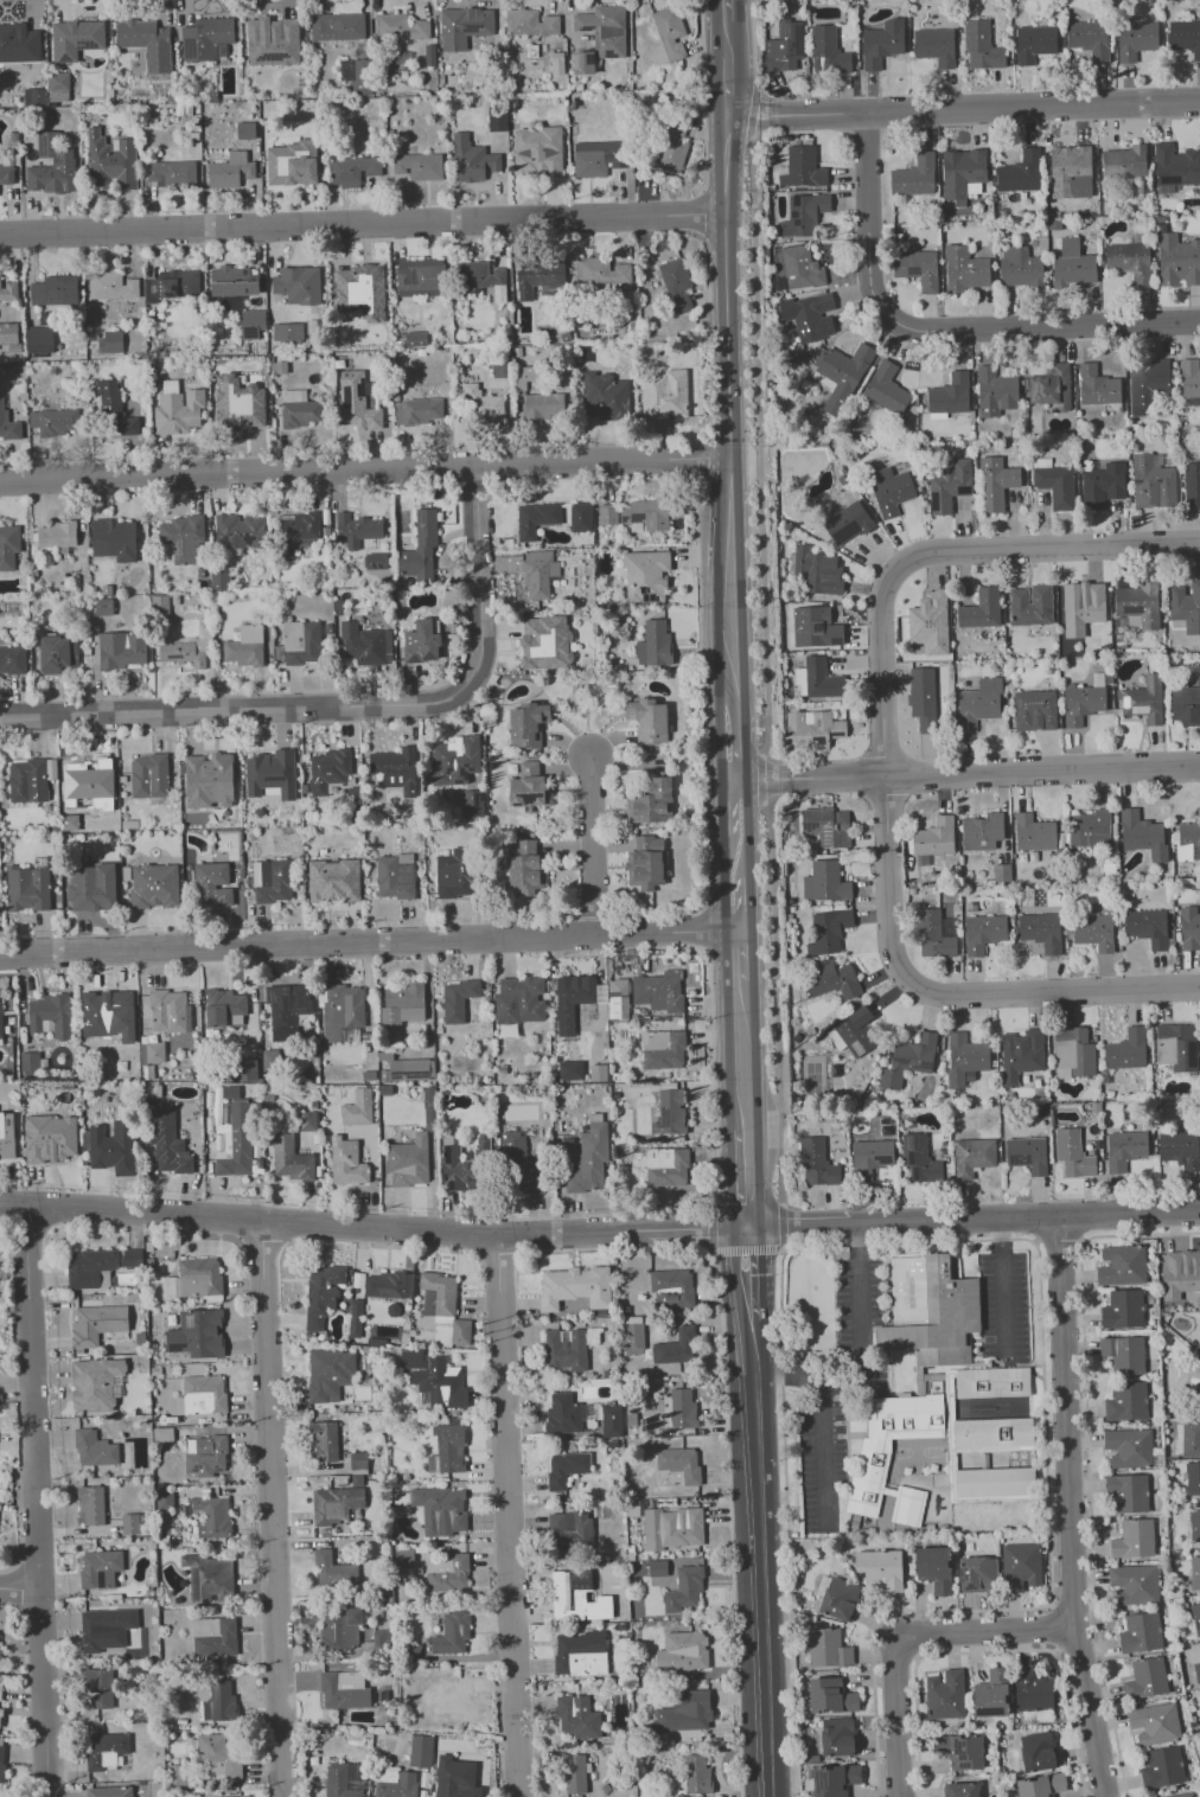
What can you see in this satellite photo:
building: (530, 23)
building: (337, 26)
building: (400, 26)
building: (464, 26)
building: (1199, 26)
rooftop solar panel: (585, 27)
building: (604, 28)
rooftop solar panel: (779, 28)
road: (726, 30)
building: (668, 34)
building: (1185, 37)
building: (76, 38)
building: (206, 38)
rooftop solar panel: (797, 39)
building: (1089, 39)
building: (1135, 39)
building: (273, 40)
building: (146, 41)
building: (19, 43)
road: (759, 43)
building: (882, 43)
building: (1034, 43)
rooftop solar panel: (89, 44)
rooftop solar panel: (191, 46)
building: (784, 46)
building: (934, 46)
building: (981, 46)
rooftop solar panel: (606, 51)
building: (828, 51)
rooftop solar panel: (64, 58)
rooftop solar panel: (587, 59)
rooftop solar panel: (575, 62)
building: (582, 62)
building: (356, 75)
building: (57, 81)
road: (727, 87)
building: (34, 97)
road: (702, 104)
road: (754, 109)
road: (963, 111)
building: (245, 130)
rooftop solar panel: (40, 142)
building: (672, 145)
building: (537, 152)
building: (598, 158)
building: (472, 159)
building: (110, 161)
building: (1124, 161)
building: (292, 164)
building: (51, 166)
building: (417, 166)
building: (1174, 167)
building: (802, 168)
building: (352, 170)
building: (231, 171)
building: (1020, 172)
building: (1070, 172)
building: (171, 173)
building: (963, 173)
building: (6, 175)
building: (914, 175)
rooftop solar panel: (799, 200)
road: (702, 213)
rooftop solar panel: (797, 213)
building: (804, 215)
rooftop solar panel: (799, 223)
road: (362, 224)
building: (1129, 261)
building: (1177, 261)
building: (1073, 264)
building: (1020, 267)
building: (800, 268)
building: (918, 268)
building: (964, 269)
building: (602, 270)
rooftop solar panel: (915, 271)
building: (420, 276)
building: (538, 277)
building: (479, 280)
building: (232, 281)
building: (172, 284)
building: (298, 284)
building: (676, 284)
building: (111, 286)
road: (726, 286)
building: (8, 290)
building: (55, 290)
building: (360, 290)
building: (234, 301)
building: (810, 315)
road: (708, 320)
building: (251, 324)
rooftop solar panel: (248, 331)
building: (287, 332)
road: (943, 333)
building: (8, 334)
building: (415, 338)
building: (39, 340)
building: (110, 341)
building: (840, 375)
building: (1189, 377)
building: (1147, 383)
building: (1097, 385)
rooftop solar panel: (360, 388)
building: (886, 388)
building: (1051, 388)
building: (995, 391)
building: (663, 394)
building: (950, 394)
rooftop solar panel: (346, 396)
building: (605, 396)
rooftop solar panel: (339, 397)
building: (237, 402)
building: (356, 402)
building: (481, 405)
building: (542, 405)
building: (177, 409)
building: (298, 409)
building: (114, 410)
building: (416, 410)
building: (53, 421)
building: (7, 423)
road: (758, 459)
rooftop solar panel: (1140, 461)
road: (364, 468)
building: (1199, 468)
rooftop solar panel: (1136, 480)
rooftop solar panel: (1157, 480)
building: (1153, 481)
building: (995, 482)
building: (1191, 484)
building: (949, 485)
building: (1055, 485)
building: (1103, 485)
building: (891, 491)
building: (634, 514)
rooftop solar panel: (420, 517)
building: (580, 517)
rooftop solar panel: (636, 517)
building: (535, 518)
rooftop solar panel: (623, 518)
building: (848, 522)
building: (357, 529)
rooftop solar panel: (420, 529)
building: (238, 530)
building: (295, 532)
rooftop solar panel: (228, 533)
rooftop solar panel: (237, 533)
building: (58, 536)
rooftop solar panel: (223, 537)
building: (114, 538)
building: (181, 539)
rooftop solar panel: (247, 539)
rooftop solar panel: (231, 542)
building: (8, 545)
building: (420, 545)
rooftop solar panel: (177, 550)
road: (940, 551)
building: (375, 561)
building: (817, 570)
building: (538, 574)
building: (645, 575)
road: (730, 577)
building: (219, 580)
building: (1199, 586)
building: (1083, 602)
building: (1030, 605)
building: (1138, 605)
building: (1186, 605)
building: (103, 606)
building: (981, 609)
rooftop solar panel: (1131, 609)
building: (930, 622)
building: (815, 627)
building: (422, 641)
building: (301, 642)
building: (544, 642)
building: (365, 644)
building: (653, 644)
building: (244, 646)
building: (121, 650)
building: (184, 651)
building: (58, 654)
rooftop solar panel: (428, 654)
rooftop solar panel: (173, 656)
building: (12, 659)
rooftop solar panel: (411, 660)
building: (817, 678)
building: (1199, 679)
building: (923, 698)
building: (1144, 699)
building: (978, 703)
building: (1185, 705)
road: (349, 706)
building: (1034, 710)
building: (647, 721)
rooftop solar panel: (818, 722)
building: (528, 724)
building: (812, 729)
rooftop solar panel: (836, 734)
road: (733, 737)
rooftop solar panel: (817, 740)
building: (455, 760)
building: (396, 768)
building: (328, 769)
road: (995, 772)
building: (89, 773)
building: (270, 773)
building: (148, 775)
building: (30, 779)
road: (761, 779)
building: (209, 780)
road: (761, 780)
building: (529, 788)
rooftop solar panel: (529, 798)
building: (651, 802)
building: (472, 804)
rooftop solar panel: (516, 804)
building: (1199, 807)
road: (734, 814)
building: (68, 818)
rooftop solar panel: (809, 826)
building: (826, 826)
building: (1090, 829)
building: (982, 831)
building: (1033, 832)
building: (1142, 834)
rooftop solar panel: (826, 837)
building: (934, 837)
building: (1187, 840)
road: (592, 845)
building: (645, 863)
building: (524, 866)
building: (455, 872)
building: (1002, 872)
building: (395, 876)
building: (333, 880)
building: (272, 881)
building: (825, 882)
building: (212, 884)
building: (153, 885)
building: (27, 888)
road: (736, 890)
building: (1199, 915)
building: (1147, 927)
building: (1189, 927)
building: (1040, 931)
building: (1093, 931)
building: (828, 932)
building: (983, 933)
building: (936, 934)
road: (368, 944)
road: (739, 959)
building: (831, 979)
building: (658, 991)
road: (946, 996)
building: (458, 999)
building: (519, 999)
building: (572, 999)
building: (617, 999)
building: (402, 1003)
road: (775, 1004)
building: (224, 1008)
building: (286, 1010)
building: (342, 1010)
building: (170, 1011)
building: (51, 1015)
building: (111, 1015)
building: (0, 1022)
building: (853, 1032)
building: (1175, 1047)
building: (663, 1049)
building: (1126, 1049)
rooftop solar panel: (854, 1050)
building: (152, 1053)
building: (1073, 1053)
building: (1021, 1055)
rooftop solar panel: (1193, 1055)
road: (742, 1057)
building: (965, 1057)
building: (270, 1060)
building: (908, 1060)
building: (30, 1063)
rooftop solar panel: (920, 1063)
building: (411, 1068)
building: (245, 1069)
building: (569, 1069)
building: (598, 1072)
rooftop solar panel: (408, 1074)
building: (357, 1107)
building: (429, 1108)
building: (671, 1111)
building: (307, 1120)
building: (6, 1136)
building: (50, 1138)
building: (167, 1141)
building: (237, 1143)
building: (113, 1146)
rooftop solar panel: (906, 1149)
building: (1124, 1149)
building: (1180, 1149)
building: (1027, 1153)
building: (1073, 1153)
building: (870, 1156)
building: (972, 1156)
building: (289, 1157)
rooftop solar panel: (883, 1158)
rooftop solar panel: (911, 1158)
building: (919, 1158)
building: (588, 1159)
building: (409, 1160)
building: (346, 1162)
building: (817, 1163)
building: (464, 1165)
building: (522, 1166)
building: (665, 1166)
road: (746, 1179)
road: (1028, 1219)
road: (802, 1224)
road: (323, 1226)
road: (781, 1228)
road: (696, 1229)
road: (713, 1229)
road: (1060, 1236)
road: (996, 1240)
road: (746, 1249)
road: (781, 1249)
building: (98, 1266)
building: (1124, 1266)
road: (749, 1274)
building: (1181, 1274)
building: (194, 1278)
building: (389, 1285)
building: (574, 1287)
building: (671, 1288)
road: (1004, 1290)
building: (321, 1294)
building: (438, 1294)
building: (1124, 1310)
rooftop solar panel: (189, 1322)
building: (97, 1323)
building: (460, 1331)
building: (196, 1334)
building: (633, 1338)
rooftop solar panel: (175, 1348)
building: (675, 1348)
building: (564, 1349)
road: (862, 1354)
building: (1125, 1354)
building: (413, 1360)
building: (330, 1374)
rooftop solar panel: (116, 1380)
building: (1189, 1382)
building: (94, 1383)
building: (440, 1383)
rooftop solar panel: (116, 1390)
building: (202, 1395)
building: (940, 1395)
building: (1198, 1401)
building: (1128, 1402)
building: (682, 1408)
building: (562, 1413)
building: (1199, 1414)
building: (611, 1421)
building: (1188, 1439)
building: (324, 1441)
building: (94, 1449)
building: (449, 1449)
building: (1134, 1450)
road: (823, 1453)
building: (205, 1456)
building: (358, 1460)
road: (1089, 1462)
building: (679, 1463)
building: (939, 1466)
building: (566, 1467)
rooftop solar panel: (194, 1469)
rooftop solar panel: (217, 1470)
building: (1194, 1477)
building: (1129, 1492)
building: (164, 1497)
road: (38, 1502)
building: (91, 1504)
building: (336, 1504)
road: (1071, 1508)
road: (273, 1509)
building: (440, 1509)
building: (212, 1516)
road: (509, 1517)
building: (130, 1523)
road: (728, 1523)
building: (1195, 1524)
building: (671, 1528)
building: (569, 1529)
building: (1135, 1540)
building: (1188, 1556)
road: (762, 1559)
building: (1022, 1566)
building: (100, 1568)
building: (332, 1568)
building: (653, 1568)
building: (882, 1568)
building: (936, 1568)
building: (447, 1573)
building: (1195, 1573)
building: (979, 1574)
rooftop solar panel: (101, 1577)
building: (209, 1578)
rooftop solar panel: (193, 1582)
building: (1136, 1584)
road: (20, 1587)
building: (570, 1587)
building: (684, 1588)
building: (838, 1598)
building: (613, 1604)
building: (1196, 1617)
road: (1053, 1626)
building: (106, 1627)
building: (340, 1627)
building: (452, 1633)
building: (1142, 1633)
road: (905, 1635)
building: (213, 1637)
building: (382, 1638)
building: (0, 1641)
building: (829, 1649)
building: (682, 1651)
road: (991, 1652)
building: (580, 1654)
building: (1198, 1671)
building: (815, 1673)
building: (1148, 1678)
building: (100, 1687)
building: (344, 1689)
building: (0, 1690)
building: (1034, 1690)
building: (946, 1695)
building: (992, 1695)
building: (832, 1696)
building: (454, 1699)
building: (219, 1702)
building: (685, 1712)
rooftop solar panel: (982, 1713)
building: (0, 1714)
building: (577, 1718)
building: (1157, 1724)
building: (840, 1737)
building: (1198, 1740)
building: (106, 1750)
building: (421, 1751)
building: (962, 1751)
building: (1040, 1752)
building: (218, 1756)
building: (1, 1758)
building: (1163, 1769)
building: (573, 1772)
building: (696, 1773)
building: (177, 1777)
building: (455, 1778)
building: (344, 1779)
building: (835, 1780)
building: (396, 1783)
building: (1043, 1785)
building: (962, 1790)
building: (109, 1791)
building: (1183, 1795)

